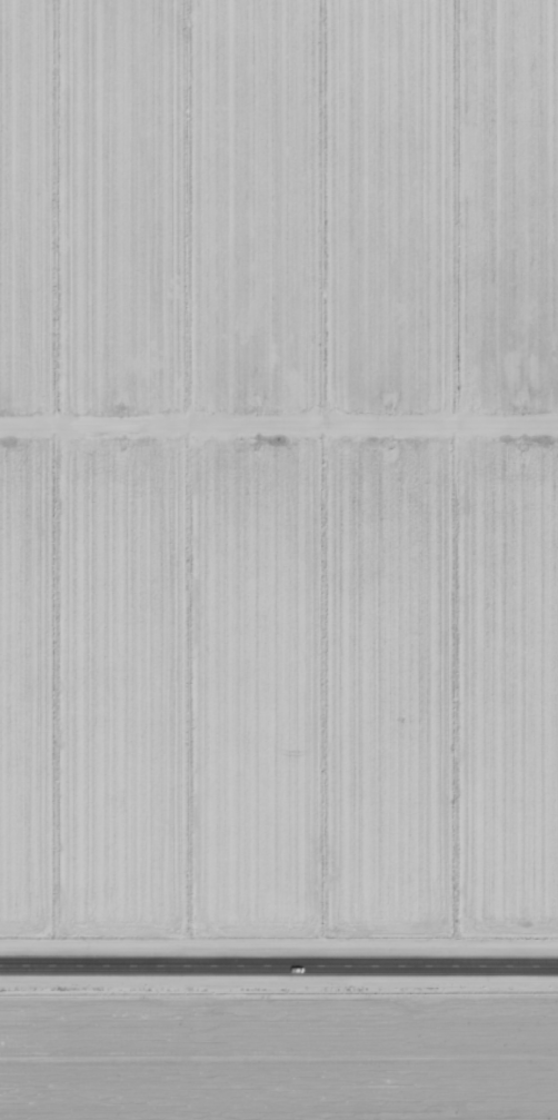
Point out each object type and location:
crop: (278, 206)
road: (273, 469)
road: (279, 967)

